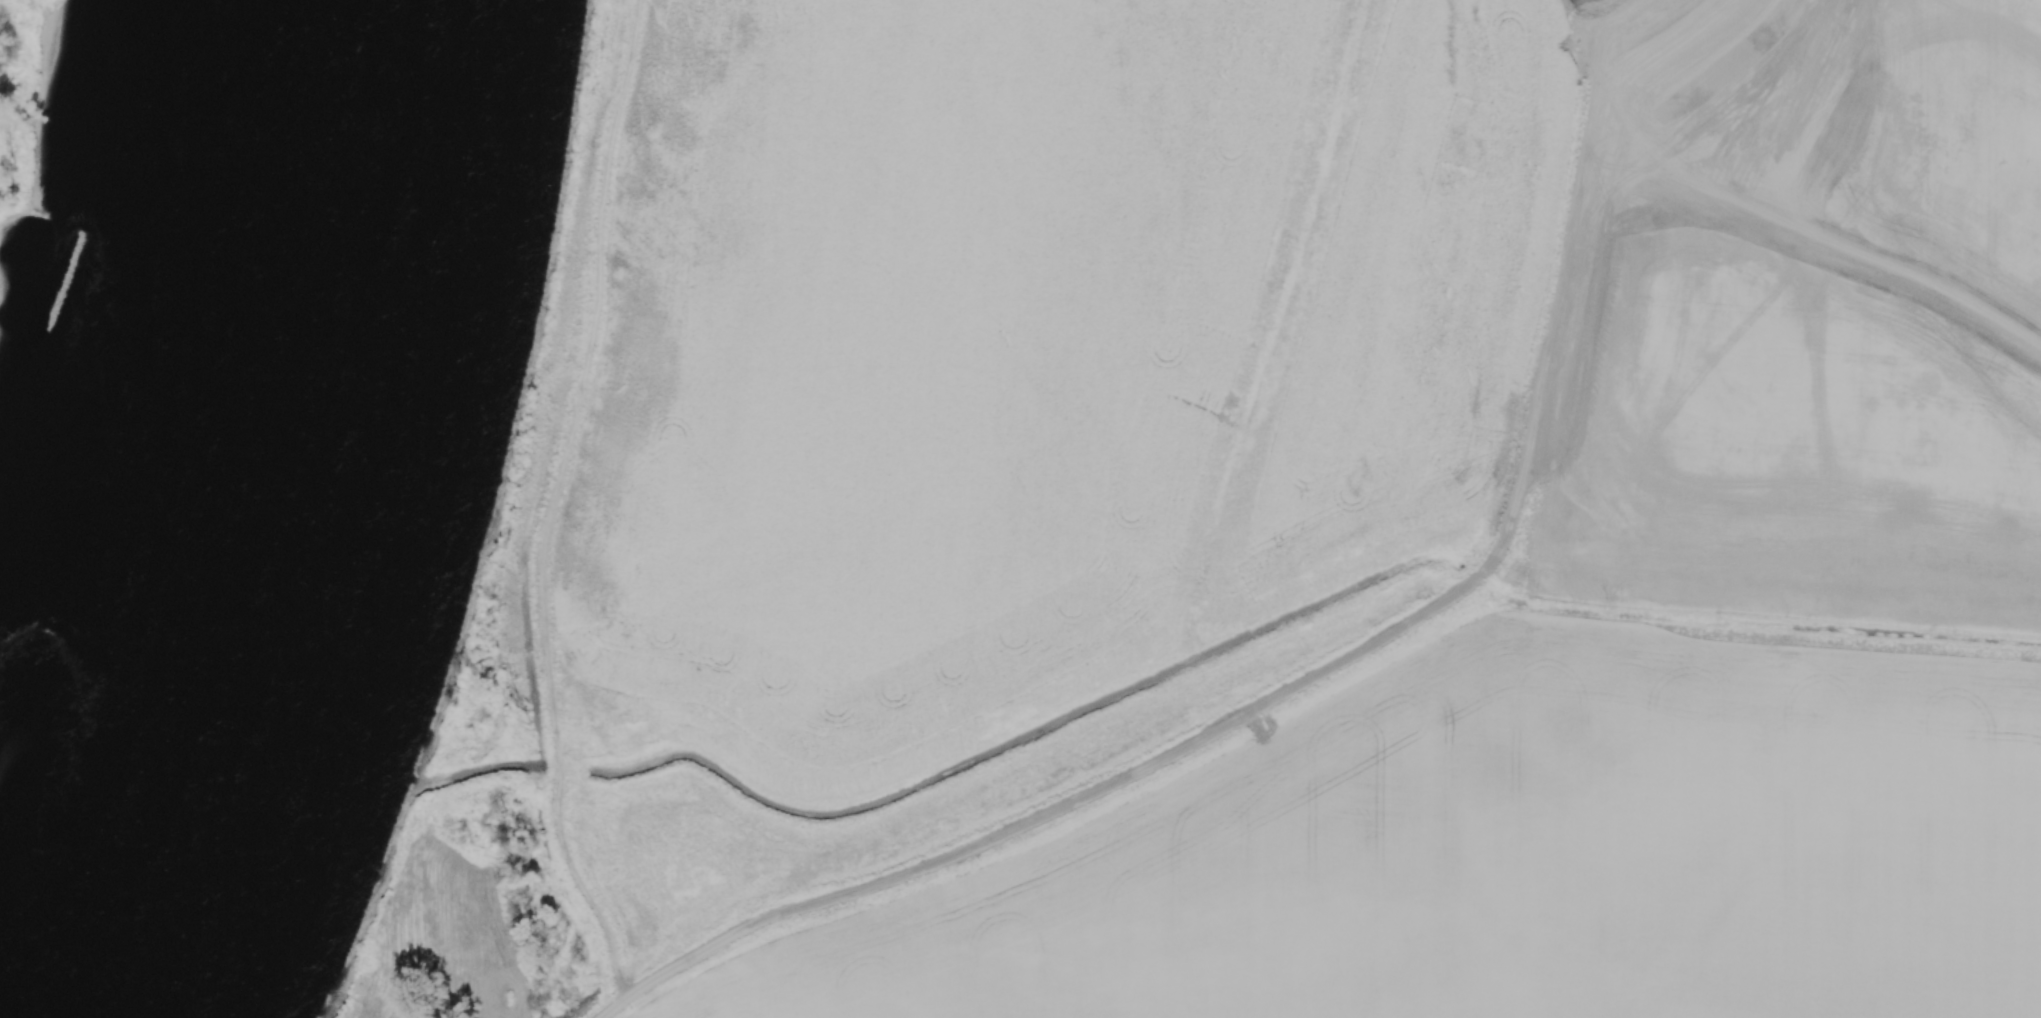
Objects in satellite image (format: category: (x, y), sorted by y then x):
river: (225, 518)
road: (1320, 675)
building: (463, 983)

